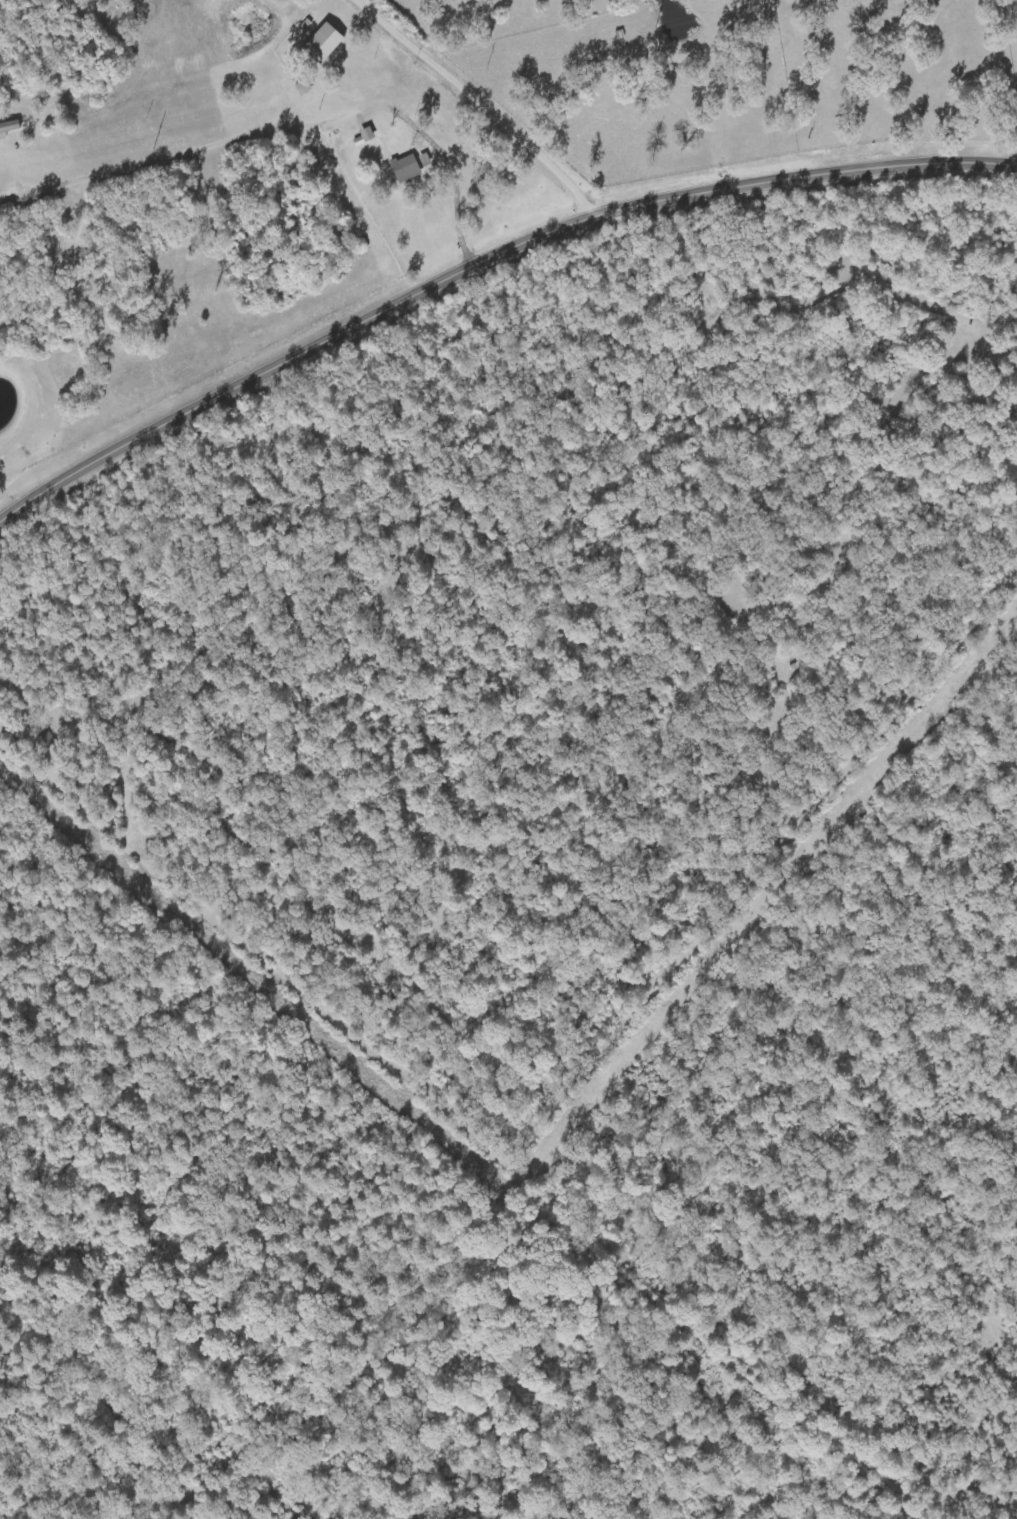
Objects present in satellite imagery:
building: (327, 44)
road: (478, 106)
building: (408, 168)
road: (482, 259)

